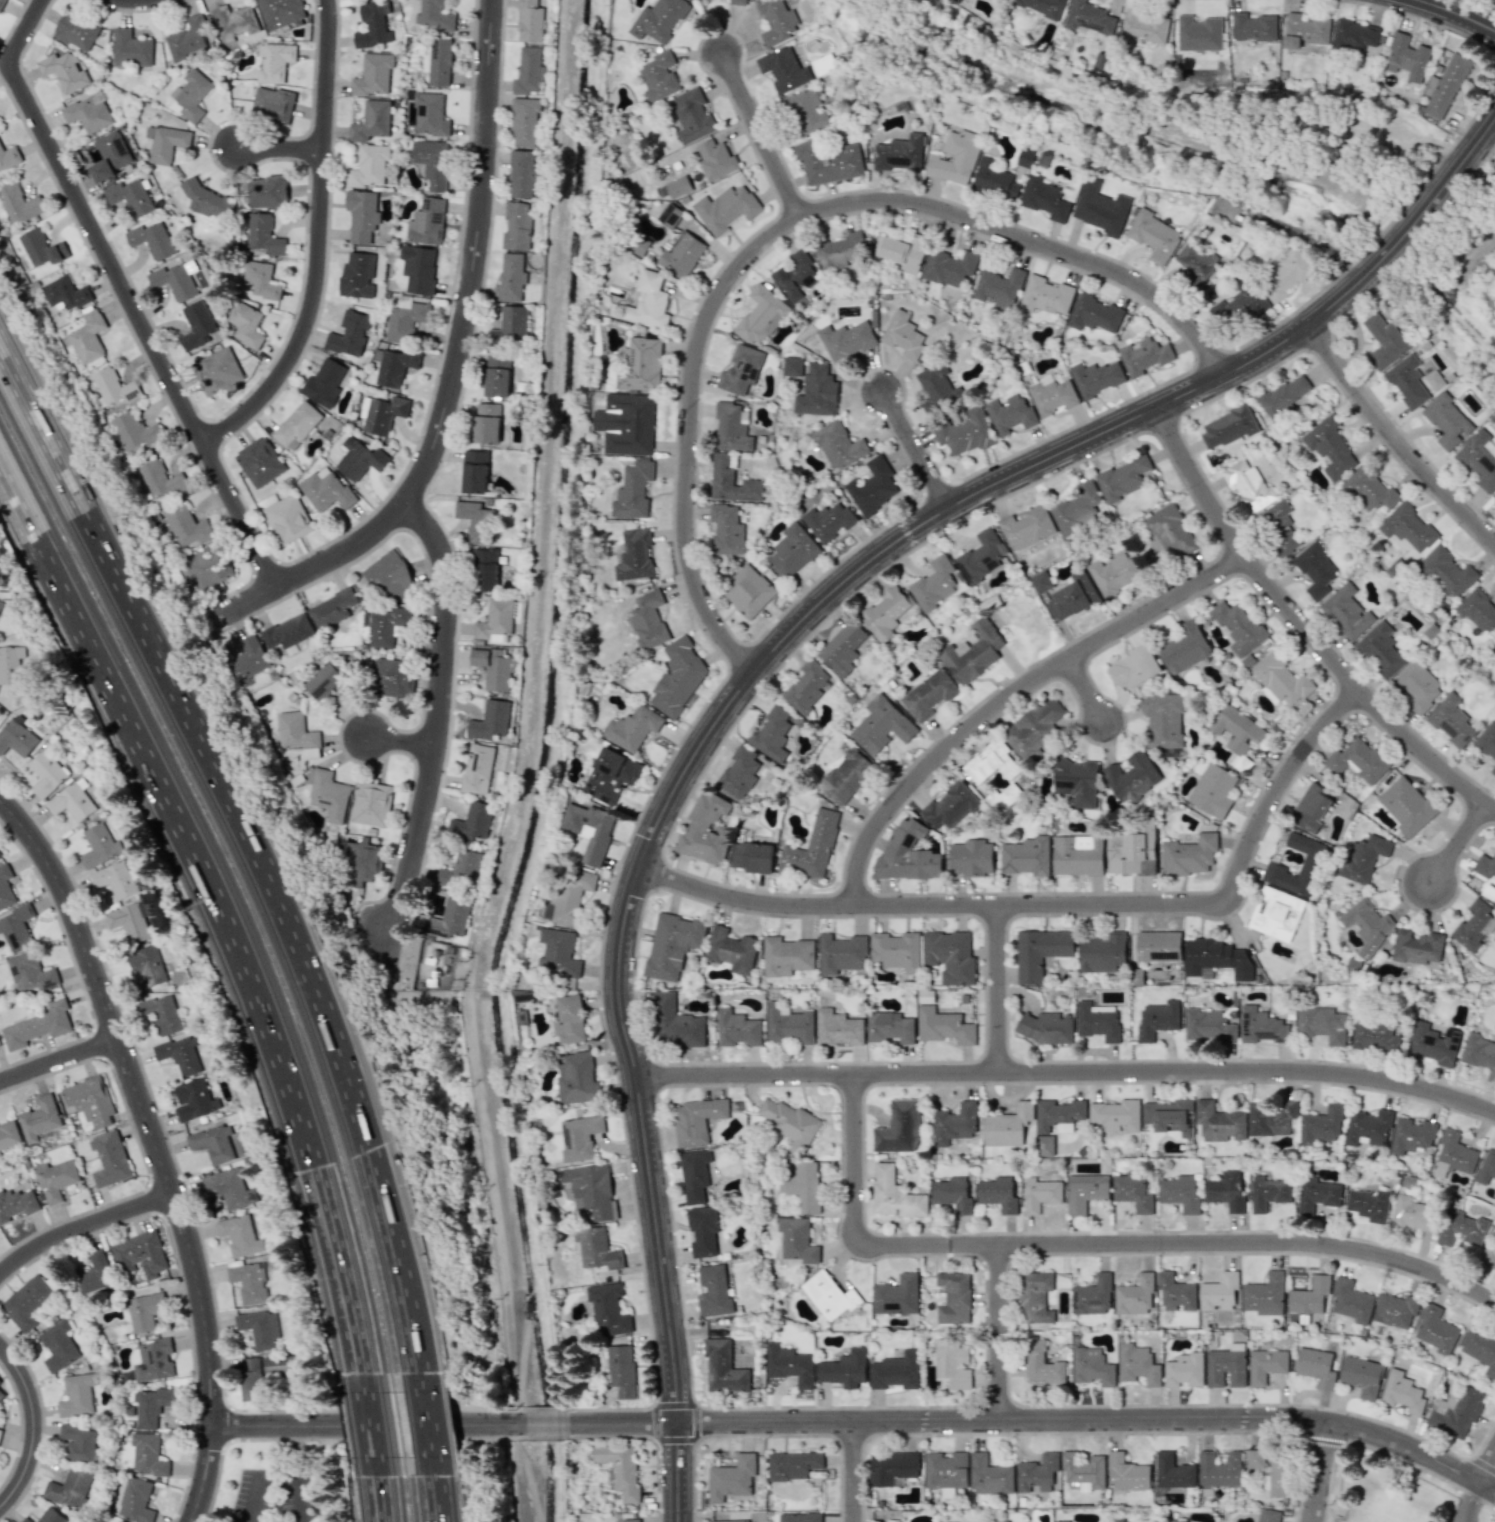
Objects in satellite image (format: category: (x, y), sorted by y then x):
road: (138, 0)
building: (738, 2)
building: (1, 3)
building: (1043, 7)
building: (280, 13)
road: (1460, 13)
building: (435, 15)
building: (1090, 19)
building: (658, 20)
building: (530, 21)
building: (776, 21)
building: (233, 22)
building: (372, 26)
building: (1146, 26)
building: (1253, 27)
building: (1305, 30)
building: (76, 31)
building: (1199, 33)
building: (1355, 36)
building: (187, 39)
building: (130, 48)
building: (1407, 58)
building: (274, 62)
building: (438, 62)
building: (784, 69)
building: (64, 70)
building: (529, 71)
building: (373, 74)
building: (659, 76)
building: (1444, 87)
building: (191, 94)
building: (273, 104)
building: (805, 112)
building: (88, 113)
building: (430, 114)
building: (693, 116)
building: (372, 121)
building: (524, 121)
road: (763, 134)
building: (165, 143)
road: (282, 148)
building: (900, 154)
building: (109, 156)
building: (8, 157)
building: (1025, 157)
building: (956, 158)
building: (716, 159)
building: (828, 161)
building: (432, 163)
building: (369, 167)
building: (521, 174)
building: (994, 180)
building: (679, 186)
building: (267, 192)
building: (129, 197)
building: (1045, 199)
building: (208, 201)
building: (18, 204)
building: (726, 208)
building: (1101, 209)
building: (362, 215)
building: (670, 215)
building: (426, 222)
building: (517, 226)
road: (787, 227)
road: (1299, 232)
building: (263, 234)
building: (1154, 236)
building: (151, 239)
road: (320, 243)
building: (41, 248)
building: (841, 251)
building: (901, 253)
building: (682, 255)
building: (1196, 264)
building: (949, 267)
building: (418, 268)
building: (1285, 274)
building: (357, 275)
building: (796, 276)
building: (511, 278)
building: (260, 280)
building: (173, 281)
building: (999, 287)
building: (65, 293)
road: (125, 293)
building: (1046, 296)
building: (649, 302)
building: (1242, 306)
building: (1094, 314)
building: (761, 315)
building: (405, 320)
building: (246, 324)
building: (196, 325)
building: (509, 328)
building: (349, 333)
building: (903, 334)
building: (87, 337)
building: (846, 340)
building: (1384, 340)
building: (1144, 356)
building: (643, 363)
building: (393, 366)
building: (793, 366)
building: (741, 369)
building: (217, 371)
road: (456, 372)
building: (498, 376)
building: (1096, 378)
building: (1407, 381)
building: (323, 383)
building: (936, 386)
building: (113, 387)
building: (817, 392)
building: (1285, 395)
building: (1052, 397)
building: (382, 413)
building: (1010, 413)
building: (1447, 421)
building: (487, 423)
building: (627, 424)
building: (296, 425)
building: (1228, 427)
building: (731, 428)
building: (132, 431)
building: (965, 432)
road: (1395, 439)
building: (838, 445)
building: (1330, 447)
road: (917, 451)
building: (359, 459)
building: (1478, 459)
building: (259, 462)
building: (474, 471)
building: (1123, 478)
building: (160, 479)
building: (732, 481)
building: (1248, 484)
building: (873, 488)
building: (325, 489)
building: (1370, 489)
building: (633, 491)
building: (1494, 498)
building: (1078, 509)
building: (287, 519)
building: (475, 520)
building: (828, 521)
building: (185, 525)
building: (1279, 526)
building: (1407, 527)
building: (1027, 528)
building: (727, 530)
building: (1170, 531)
building: (1398, 543)
building: (792, 551)
building: (635, 555)
building: (981, 556)
building: (207, 567)
building: (485, 569)
building: (1316, 570)
building: (1115, 573)
building: (1446, 573)
building: (391, 578)
building: (1041, 581)
building: (934, 584)
building: (748, 591)
building: (1075, 596)
building: (2, 606)
building: (333, 608)
building: (1347, 611)
building: (1477, 611)
building: (885, 612)
road: (808, 616)
building: (648, 620)
building: (494, 622)
building: (386, 627)
building: (1238, 627)
road: (1301, 629)
building: (288, 631)
building: (843, 648)
building: (1184, 648)
building: (1380, 650)
building: (973, 652)
building: (247, 661)
building: (10, 664)
building: (492, 667)
building: (1134, 668)
building: (678, 677)
building: (391, 678)
building: (326, 679)
building: (1280, 679)
building: (1418, 686)
building: (806, 687)
road: (1087, 692)
building: (929, 695)
road: (1012, 697)
building: (1163, 719)
building: (489, 721)
building: (1451, 721)
building: (882, 725)
road: (435, 728)
building: (634, 728)
building: (1236, 728)
building: (1034, 729)
building: (297, 734)
building: (772, 734)
building: (16, 737)
building: (1487, 741)
road: (401, 743)
building: (1358, 760)
building: (991, 762)
building: (477, 769)
building: (1492, 770)
building: (739, 772)
building: (45, 774)
building: (611, 775)
building: (847, 776)
building: (1133, 776)
building: (1077, 782)
building: (1214, 790)
building: (328, 795)
building: (1003, 798)
building: (71, 803)
building: (371, 803)
building: (951, 806)
building: (1406, 806)
building: (1311, 808)
building: (472, 822)
building: (705, 829)
building: (589, 830)
road: (1459, 843)
building: (100, 845)
building: (813, 847)
building: (1133, 850)
road: (249, 853)
building: (907, 854)
building: (0, 855)
building: (1078, 855)
building: (1189, 855)
building: (1027, 856)
building: (753, 857)
building: (972, 858)
building: (1363, 858)
building: (360, 861)
building: (1484, 866)
building: (1274, 867)
building: (460, 872)
building: (114, 879)
building: (5, 887)
building: (569, 895)
road: (1057, 904)
road: (222, 911)
building: (1276, 913)
road: (380, 918)
building: (449, 919)
building: (129, 921)
building: (1473, 924)
building: (1367, 925)
building: (16, 927)
building: (672, 944)
building: (1417, 946)
building: (1159, 947)
building: (732, 950)
building: (897, 950)
building: (1040, 952)
building: (558, 953)
building: (841, 953)
building: (1103, 953)
building: (787, 956)
building: (950, 956)
building: (1216, 957)
building: (146, 966)
building: (30, 973)
road: (999, 989)
building: (925, 996)
building: (162, 1013)
building: (1157, 1019)
building: (569, 1020)
building: (676, 1023)
building: (1096, 1023)
building: (788, 1024)
building: (1322, 1024)
building: (38, 1026)
building: (943, 1026)
building: (1208, 1026)
building: (1262, 1026)
building: (889, 1027)
building: (1045, 1027)
building: (737, 1028)
building: (838, 1028)
building: (1374, 1037)
building: (1433, 1044)
building: (1479, 1052)
building: (179, 1055)
road: (59, 1059)
road: (1068, 1073)
building: (577, 1078)
building: (90, 1100)
building: (193, 1100)
road: (140, 1102)
building: (1058, 1115)
building: (1116, 1115)
building: (1170, 1116)
building: (1272, 1118)
building: (41, 1119)
building: (696, 1120)
building: (789, 1121)
building: (1219, 1122)
building: (955, 1123)
building: (1321, 1125)
building: (1007, 1126)
building: (1368, 1127)
building: (899, 1128)
building: (9, 1135)
building: (1412, 1135)
building: (579, 1136)
building: (213, 1144)
building: (1045, 1145)
building: (1453, 1154)
building: (0, 1155)
building: (109, 1159)
building: (1486, 1167)
building: (694, 1174)
building: (55, 1179)
building: (803, 1186)
building: (229, 1187)
building: (591, 1190)
building: (1085, 1191)
building: (1132, 1191)
building: (1226, 1191)
building: (1180, 1192)
building: (1268, 1192)
building: (952, 1193)
building: (998, 1193)
building: (894, 1194)
building: (1040, 1194)
building: (1318, 1195)
building: (17, 1203)
building: (1369, 1204)
building: (1411, 1214)
road: (83, 1227)
building: (1462, 1228)
building: (702, 1231)
building: (238, 1235)
building: (798, 1240)
road: (1094, 1245)
building: (596, 1248)
building: (139, 1254)
building: (1488, 1255)
building: (95, 1274)
building: (714, 1291)
building: (1175, 1292)
building: (1219, 1292)
building: (830, 1295)
building: (897, 1295)
building: (1093, 1295)
building: (1264, 1295)
building: (1135, 1296)
building: (1309, 1296)
building: (1035, 1297)
building: (954, 1298)
building: (1351, 1301)
building: (26, 1302)
building: (608, 1309)
building: (1395, 1310)
building: (144, 1311)
building: (258, 1328)
building: (1436, 1330)
road: (1000, 1333)
building: (58, 1346)
building: (1480, 1348)
building: (154, 1360)
building: (952, 1363)
building: (276, 1364)
building: (1042, 1364)
building: (1137, 1364)
building: (790, 1365)
building: (1265, 1365)
building: (1092, 1366)
building: (1226, 1366)
building: (723, 1367)
building: (1316, 1367)
building: (844, 1369)
building: (621, 1370)
building: (1184, 1370)
building: (896, 1371)
building: (1362, 1376)
building: (249, 1378)
building: (0, 1382)
building: (1, 1392)
building: (1402, 1392)
building: (77, 1395)
building: (153, 1406)
building: (1456, 1412)
road: (1092, 1419)
road: (424, 1420)
road: (444, 1422)
road: (373, 1426)
road: (34, 1427)
building: (79, 1442)
road: (295, 1451)
building: (148, 1454)
building: (1255, 1458)
road: (1483, 1460)
building: (793, 1465)
building: (892, 1467)
building: (620, 1469)
building: (946, 1469)
building: (1219, 1469)
road: (676, 1470)
road: (849, 1471)
building: (1173, 1471)
building: (1083, 1472)
road: (1319, 1472)
building: (1037, 1473)
building: (1126, 1473)
road: (206, 1474)
building: (990, 1475)
road: (276, 1477)
building: (1278, 1477)
building: (731, 1478)
building: (69, 1488)
park: (1384, 1488)
road: (432, 1490)
road: (378, 1496)
road: (382, 1496)
building: (136, 1501)
road: (1470, 1502)
building: (1268, 1515)
building: (51, 1516)
building: (800, 1517)
building: (26, 1520)
building: (631, 1520)
building: (1116, 1520)
building: (1177, 1520)
building: (120, 1521)
building: (1017, 1521)
building: (1061, 1521)

